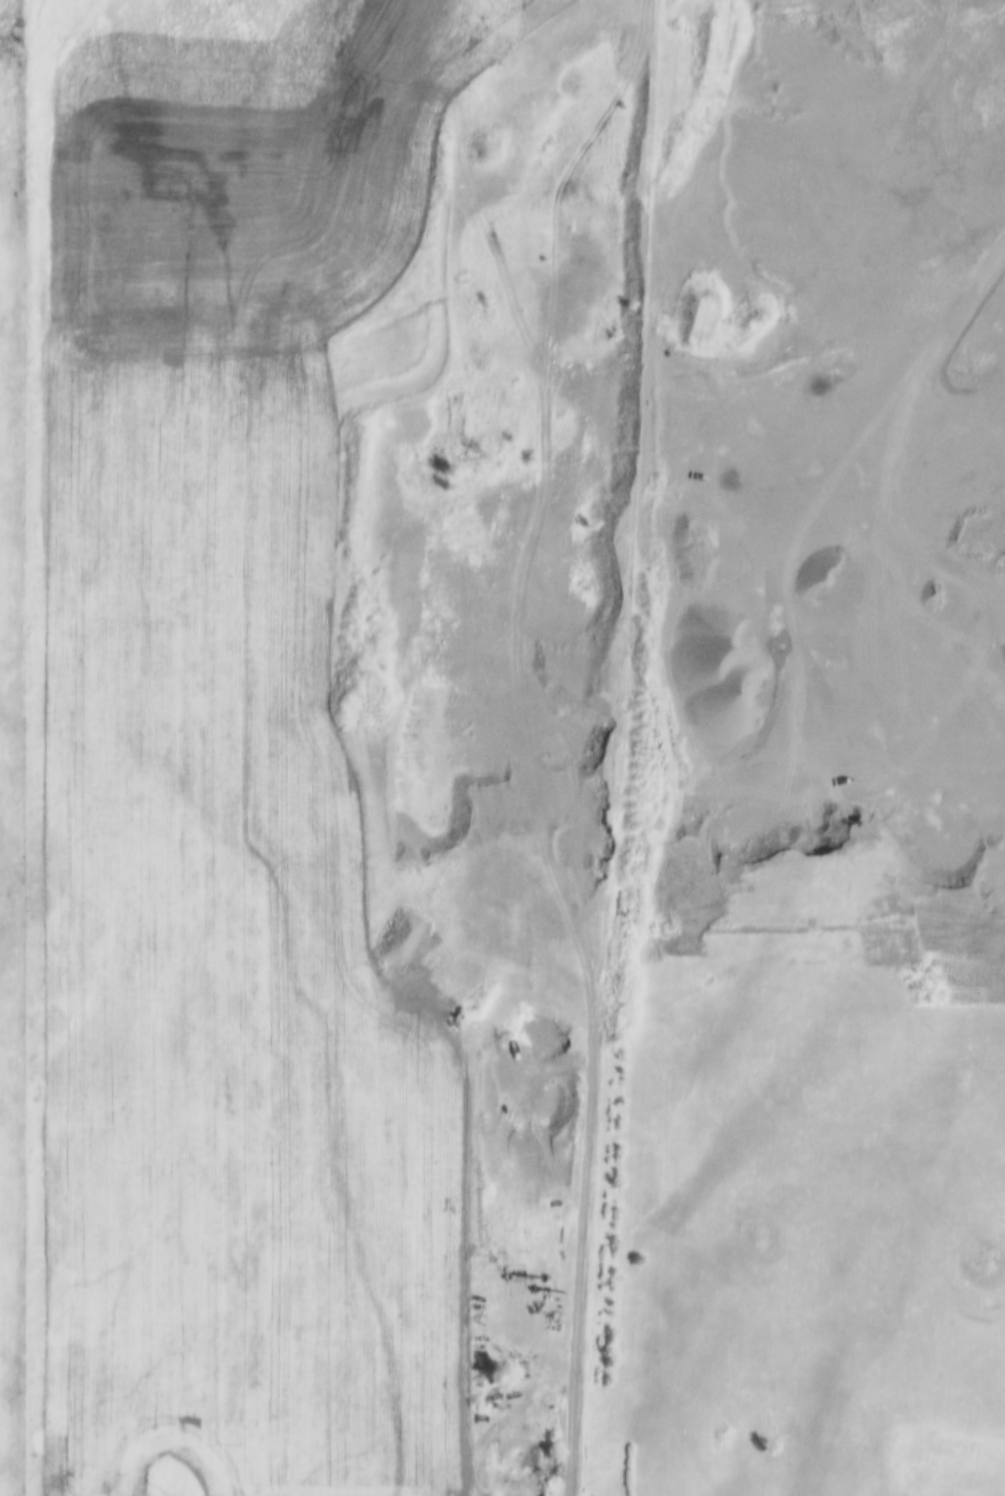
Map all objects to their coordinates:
road: (492, 190)
quarry: (687, 446)
road: (548, 734)

